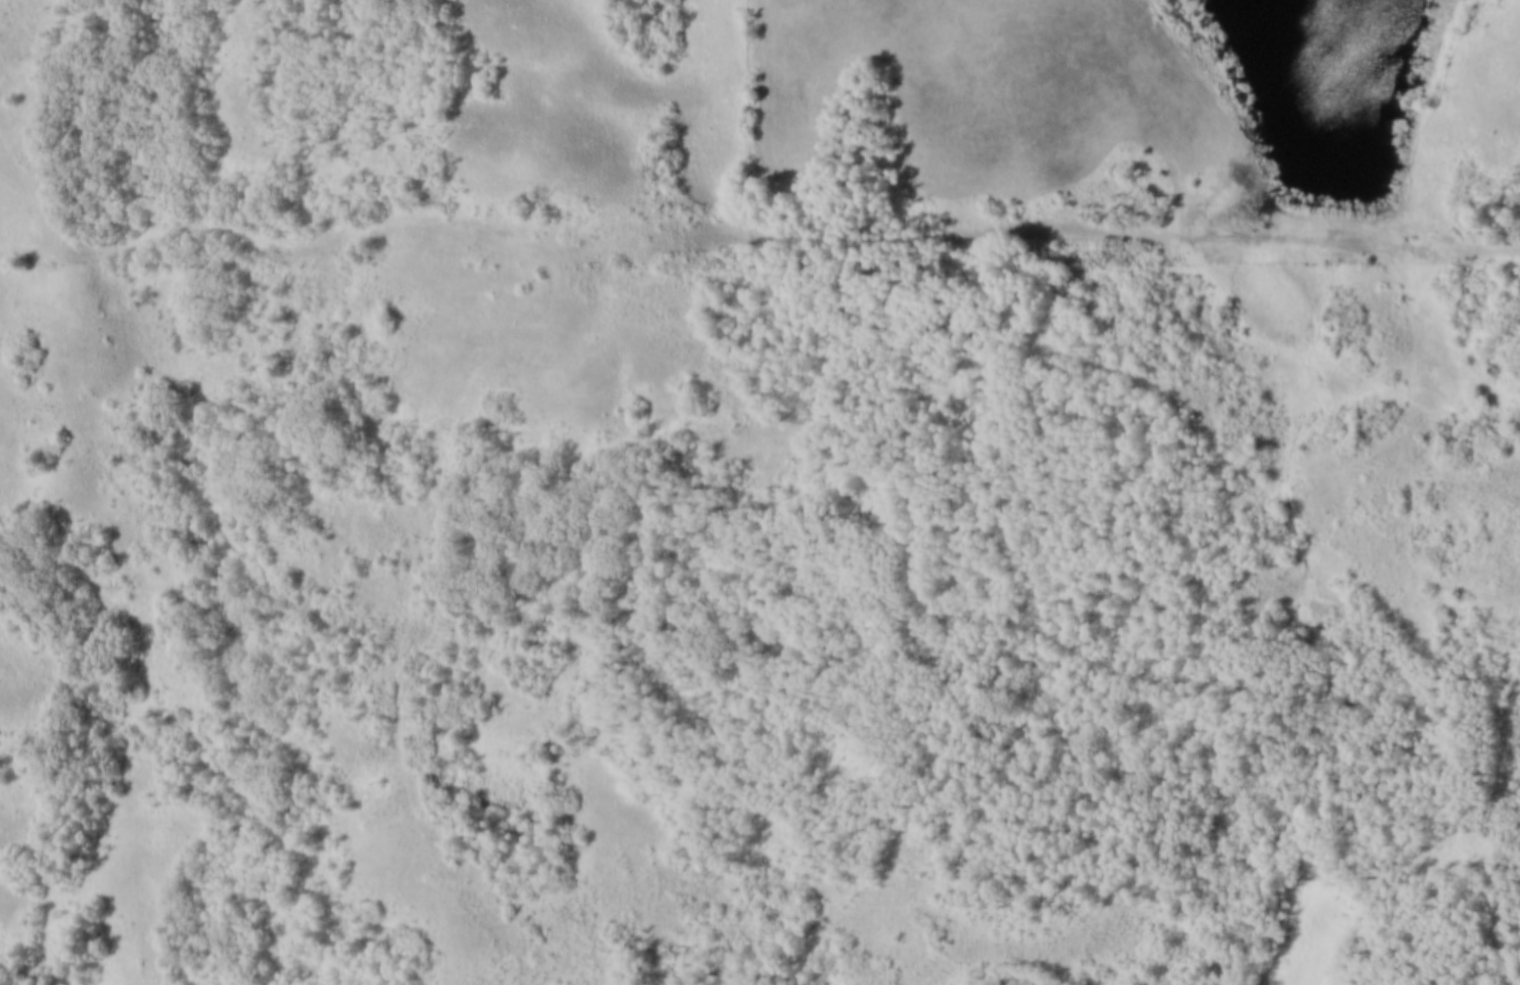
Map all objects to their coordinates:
road: (755, 236)

